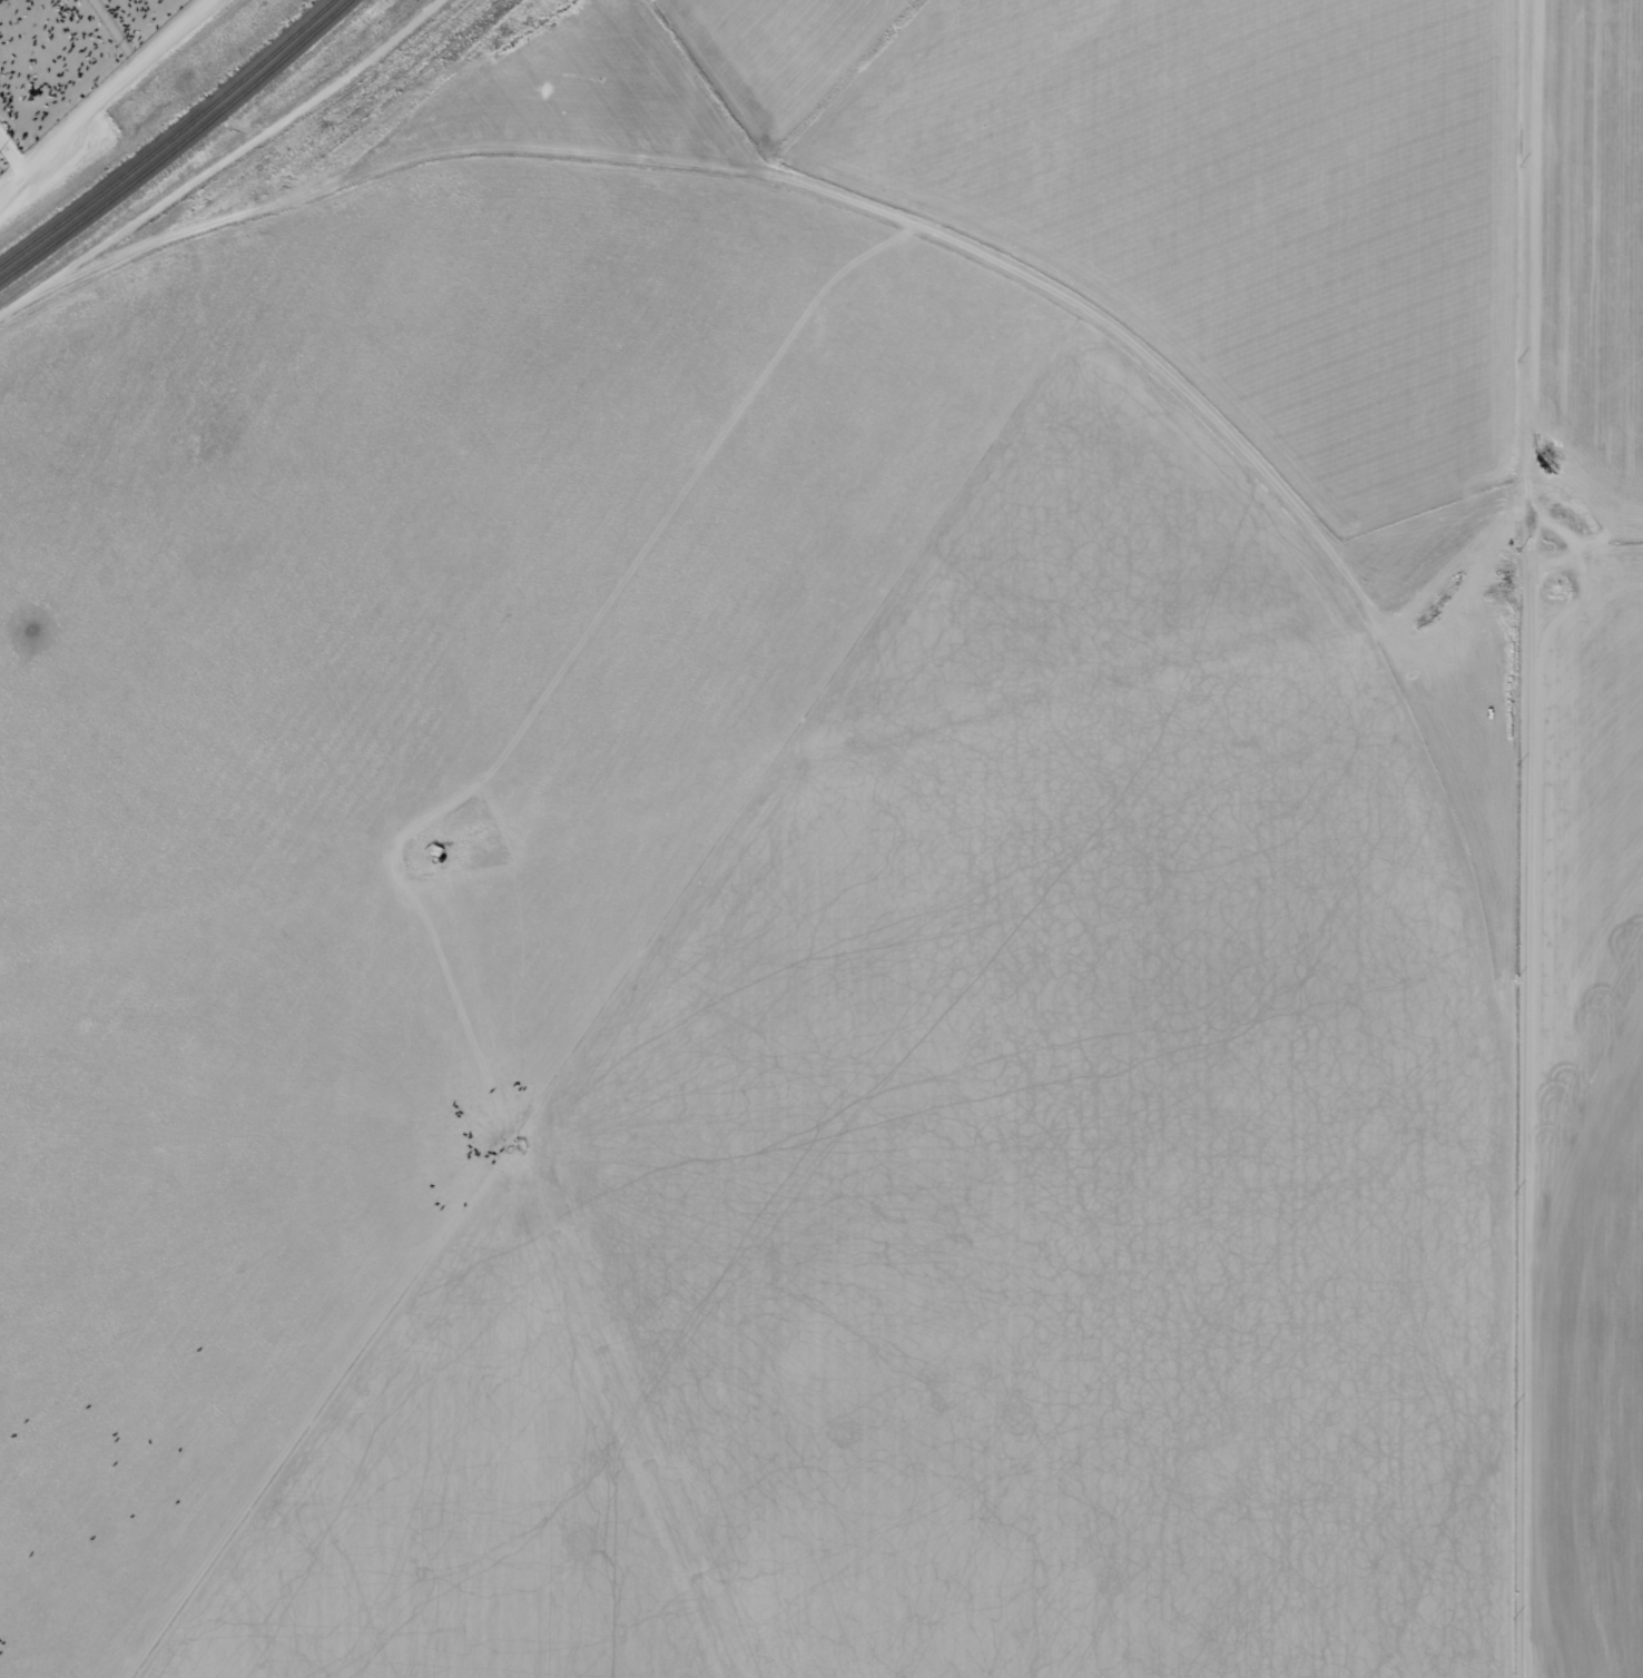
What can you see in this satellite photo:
road: (41, 102)
road: (124, 117)
railway: (174, 139)
railway: (184, 147)

